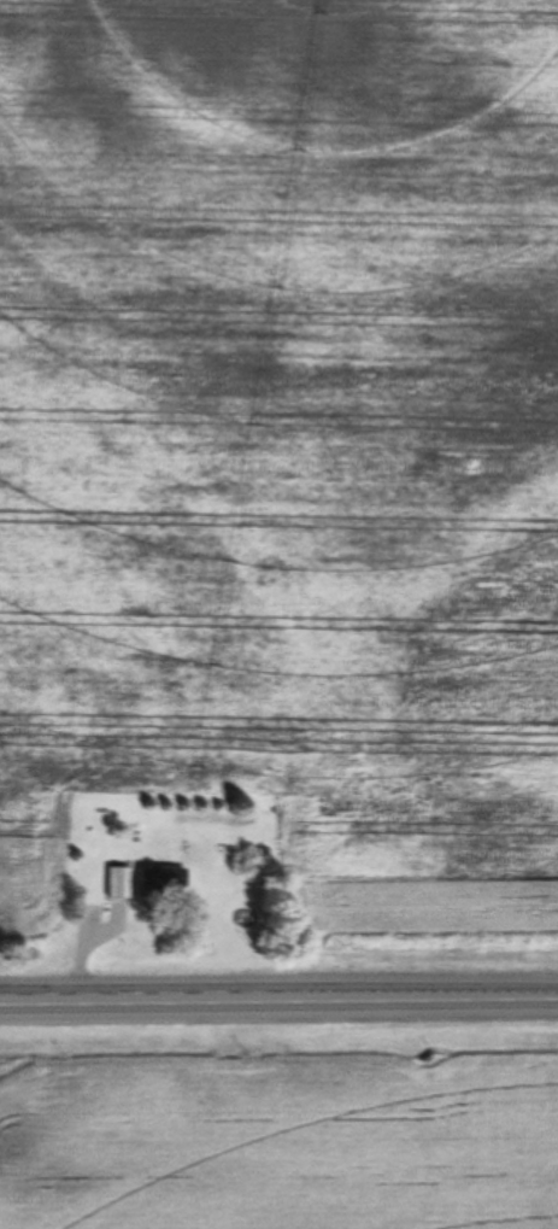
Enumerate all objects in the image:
building: (161, 879)
building: (119, 883)
road: (278, 1001)
crop: (281, 1141)

